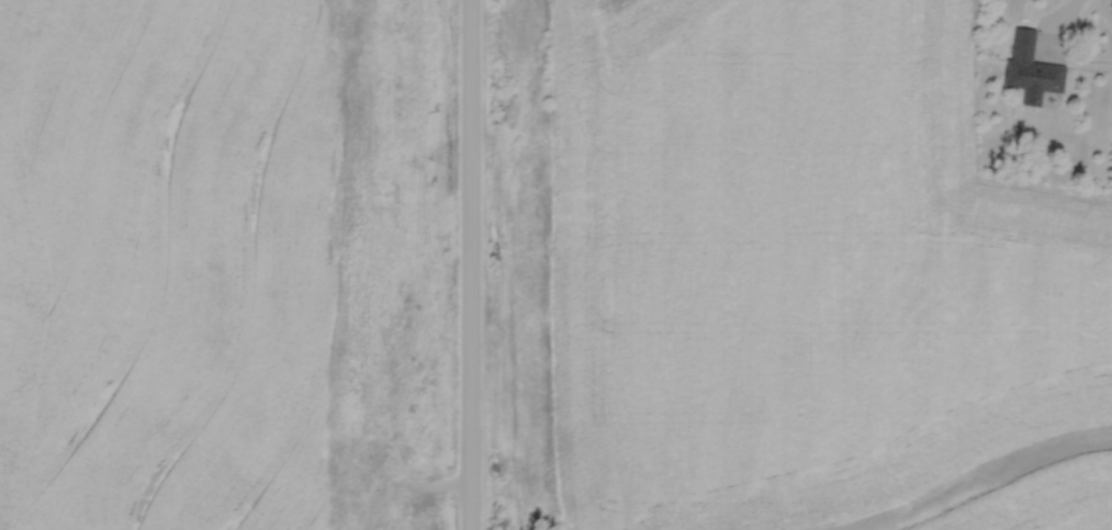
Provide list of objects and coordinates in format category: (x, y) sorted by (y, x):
road: (1071, 5)
building: (1029, 67)
road: (468, 264)

